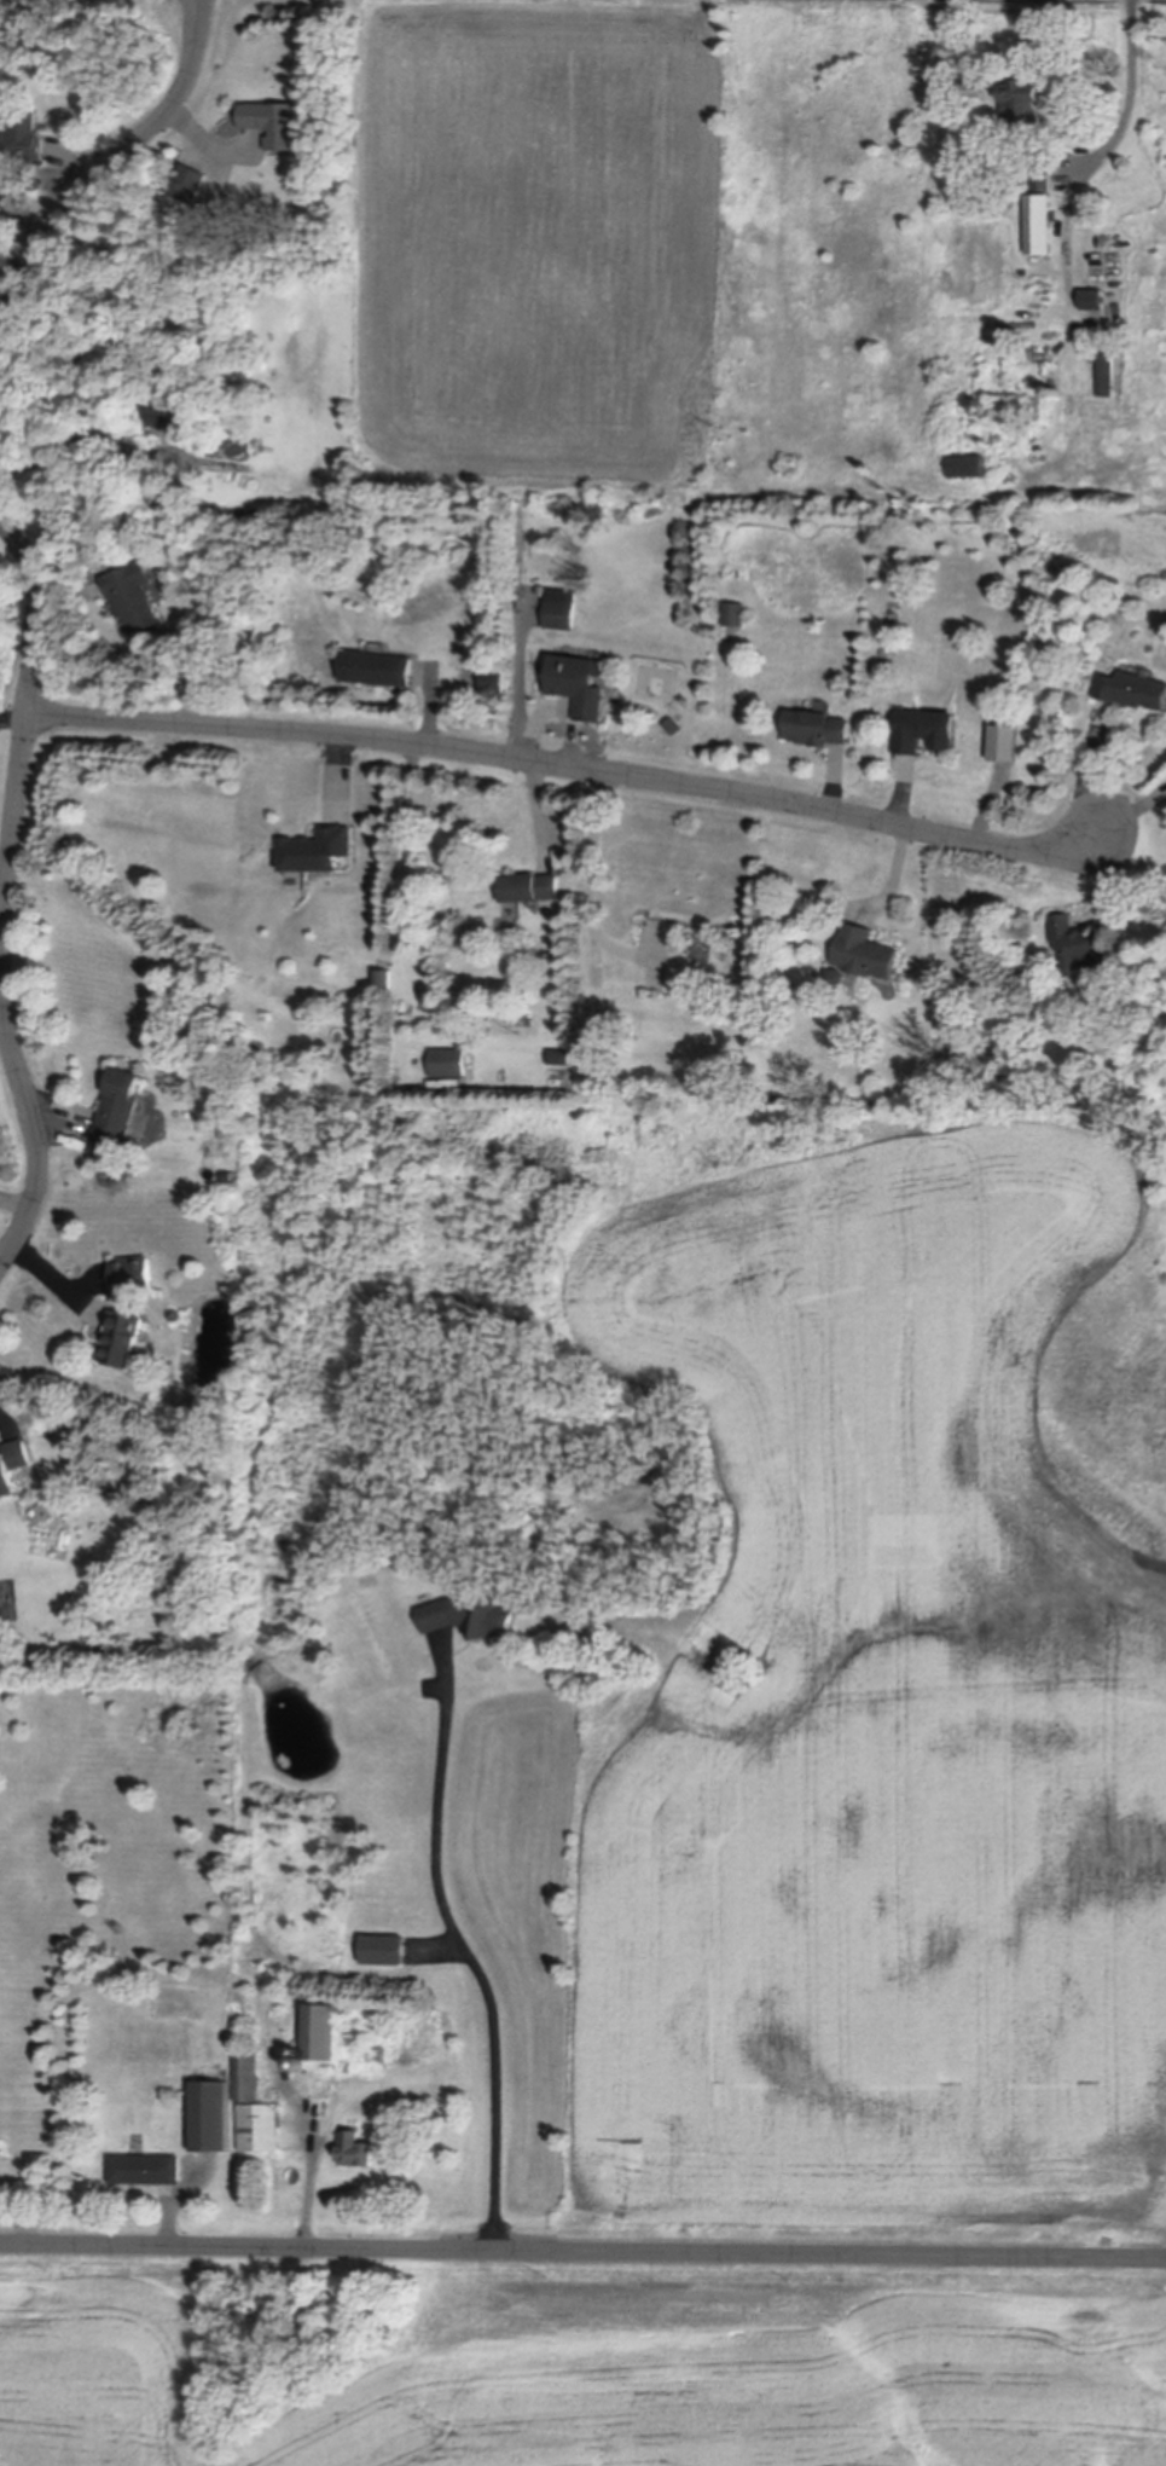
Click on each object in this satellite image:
road: (1132, 93)
building: (1021, 95)
building: (274, 120)
building: (22, 134)
building: (1042, 174)
road: (101, 176)
building: (184, 184)
road: (23, 214)
building: (1038, 221)
road: (10, 267)
building: (1094, 296)
building: (1106, 372)
building: (1022, 388)
building: (1056, 390)
building: (172, 405)
building: (1039, 406)
building: (985, 407)
building: (1022, 413)
road: (85, 435)
building: (967, 463)
building: (106, 527)
building: (133, 594)
building: (559, 613)
building: (733, 613)
building: (377, 666)
building: (188, 675)
building: (202, 677)
building: (493, 678)
building: (578, 683)
building: (1133, 688)
building: (817, 725)
building: (923, 728)
road: (573, 771)
road: (1086, 776)
building: (317, 849)
building: (532, 885)
road: (592, 886)
road: (407, 891)
road: (11, 895)
building: (1079, 943)
building: (866, 951)
building: (837, 976)
building: (385, 978)
building: (449, 1063)
building: (117, 1111)
building: (133, 1274)
building: (176, 1314)
building: (122, 1337)
building: (13, 1465)
building: (469, 1616)
building: (103, 1652)
building: (266, 1678)
building: (382, 1949)
road: (474, 1960)
building: (325, 2034)
building: (377, 2055)
building: (301, 2066)
building: (347, 2068)
building: (248, 2078)
building: (213, 2118)
building: (262, 2129)
building: (356, 2150)
building: (145, 2170)
road: (311, 2181)
road: (582, 2252)

